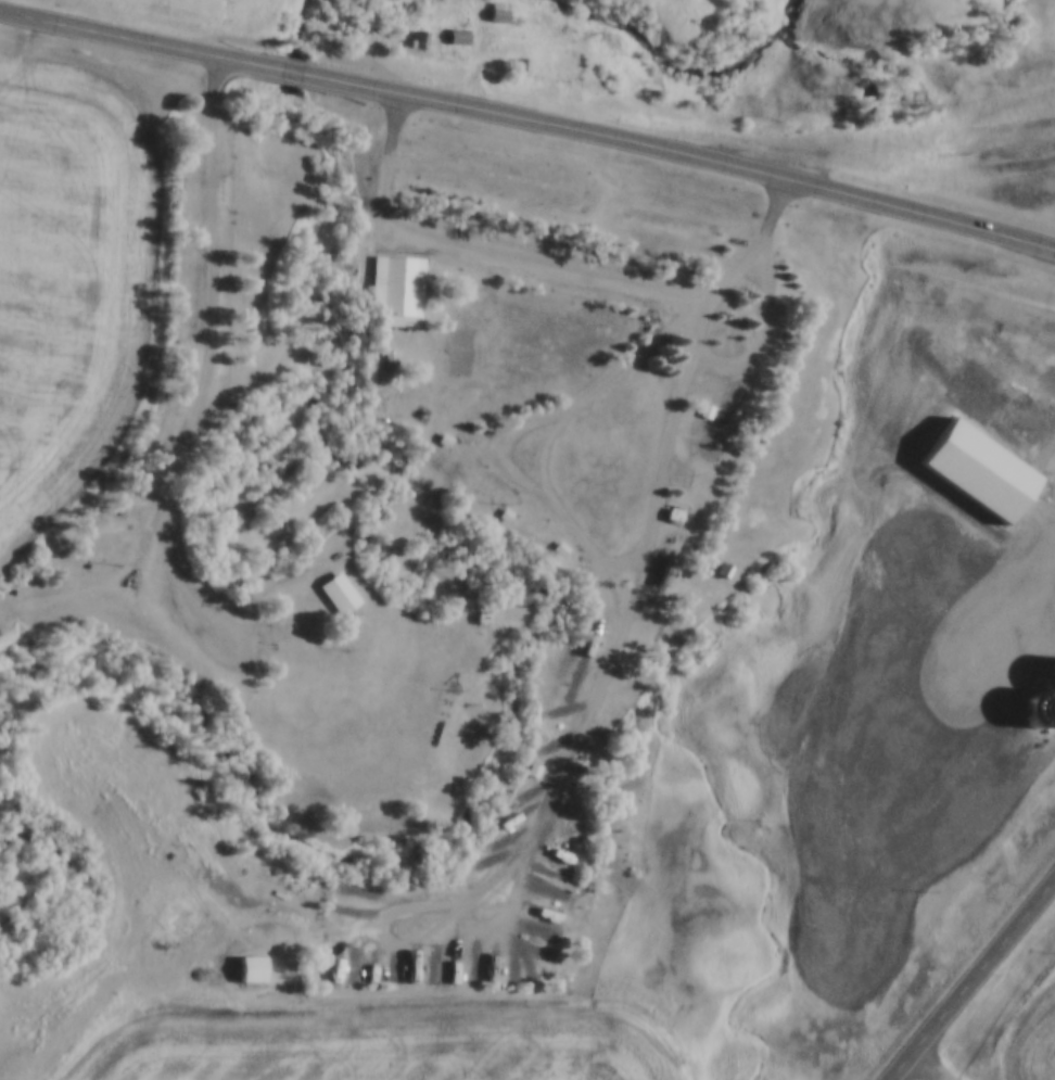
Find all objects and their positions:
building: (496, 10)
building: (455, 35)
building: (417, 37)
building: (521, 64)
road: (530, 123)
road: (886, 155)
road: (480, 254)
crop: (67, 285)
building: (390, 294)
road: (763, 333)
park: (450, 352)
building: (382, 360)
road: (206, 366)
road: (610, 381)
building: (699, 414)
building: (436, 442)
building: (968, 472)
building: (496, 517)
building: (668, 518)
building: (554, 551)
building: (716, 573)
building: (660, 575)
building: (331, 595)
building: (480, 618)
building: (474, 621)
road: (586, 719)
building: (527, 768)
building: (476, 860)
building: (390, 969)
building: (342, 970)
building: (247, 974)
road: (968, 979)
road: (931, 1064)

